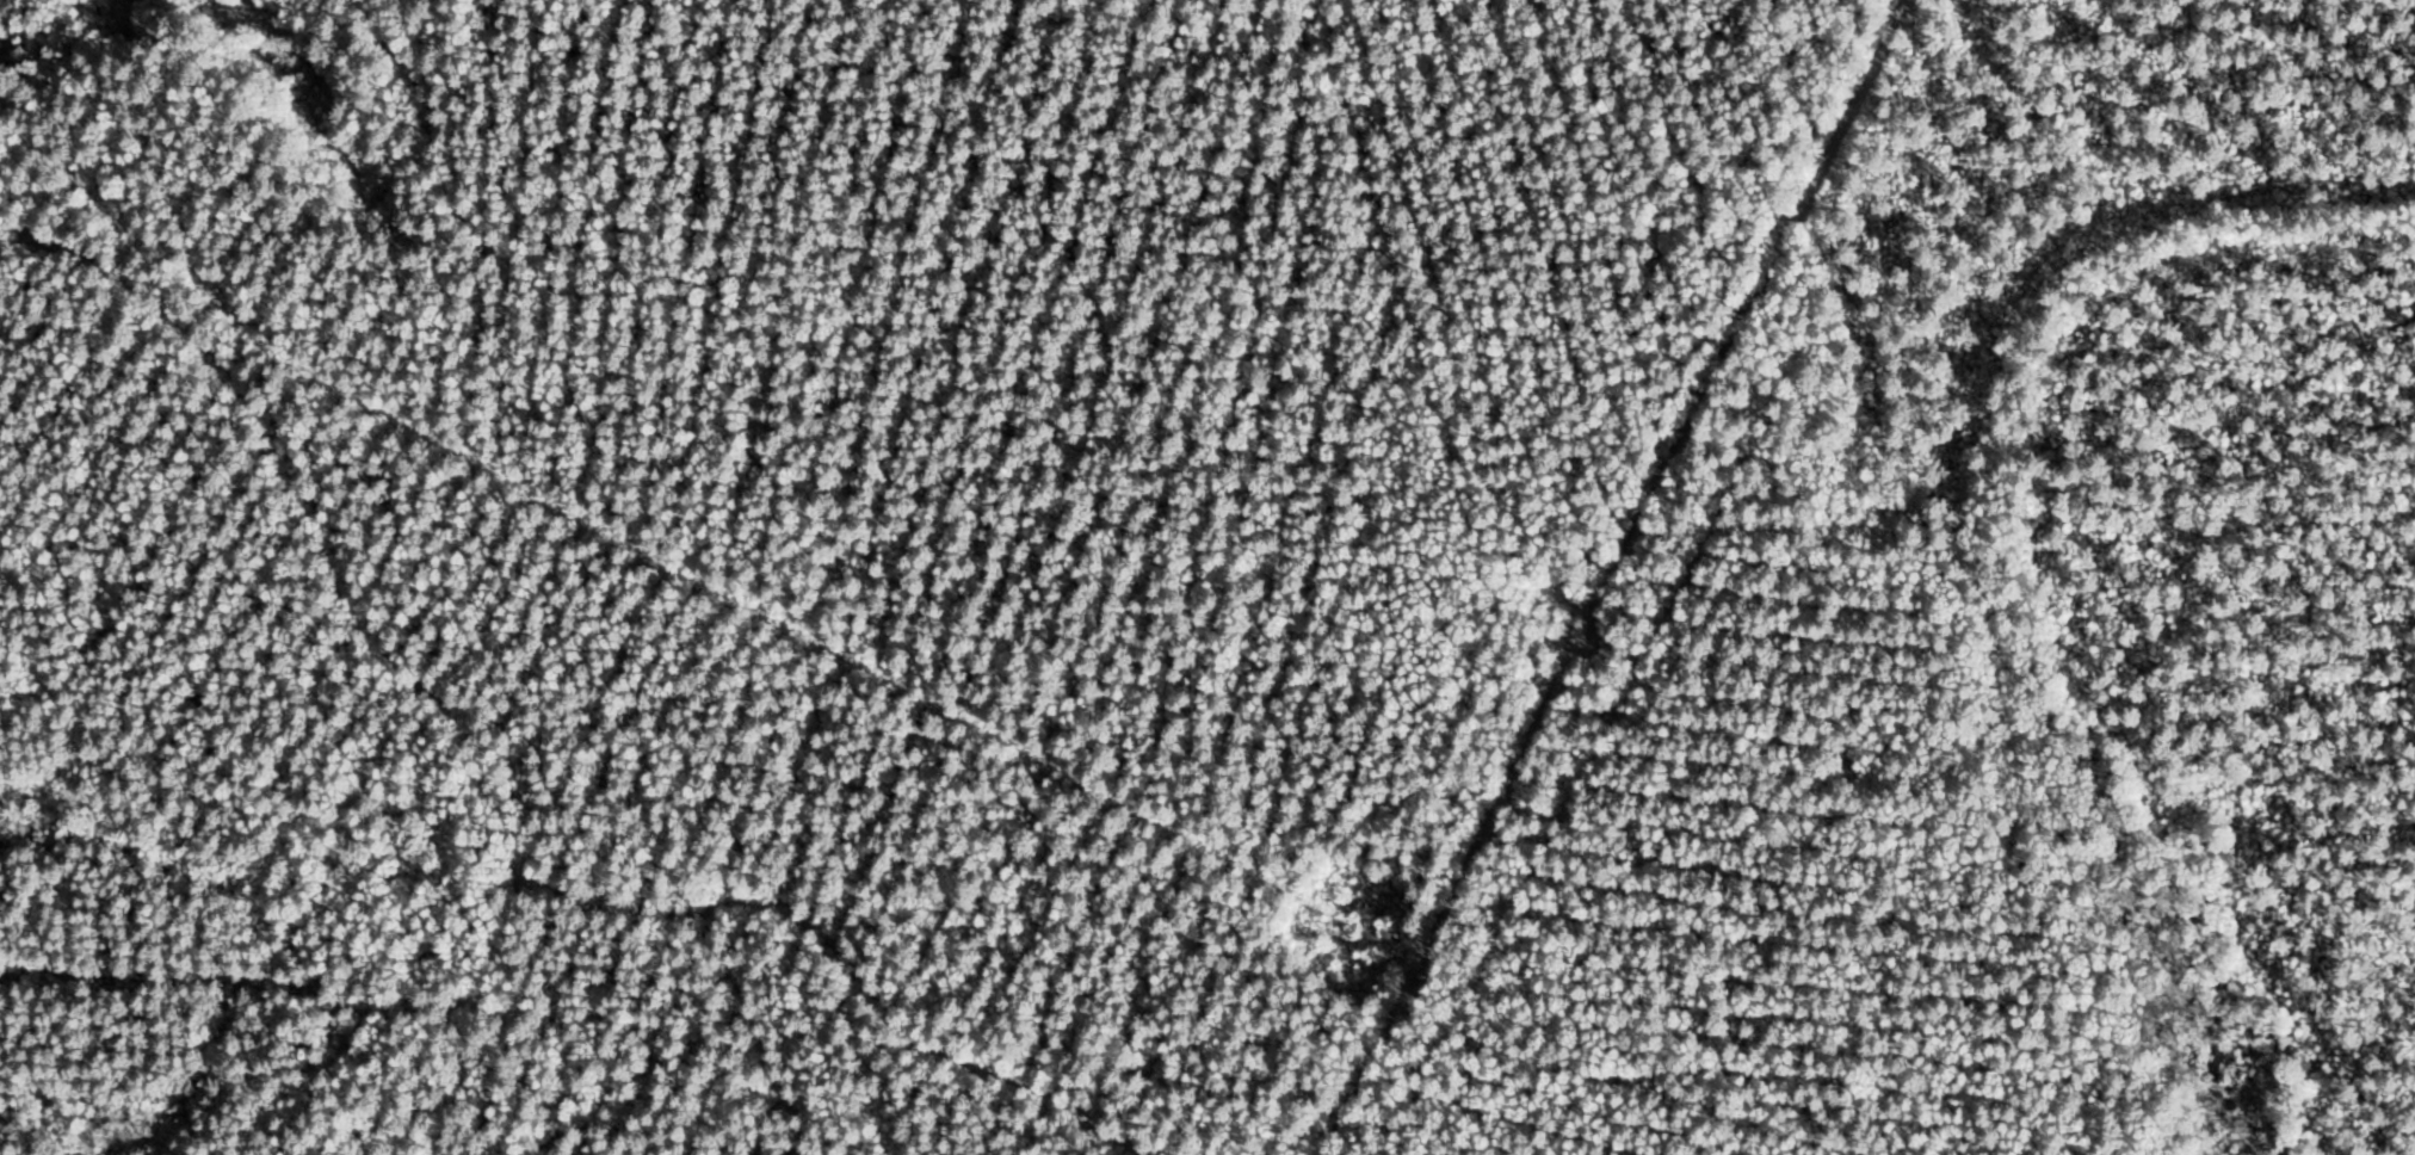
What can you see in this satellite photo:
park: (1207, 577)
road: (1648, 580)

